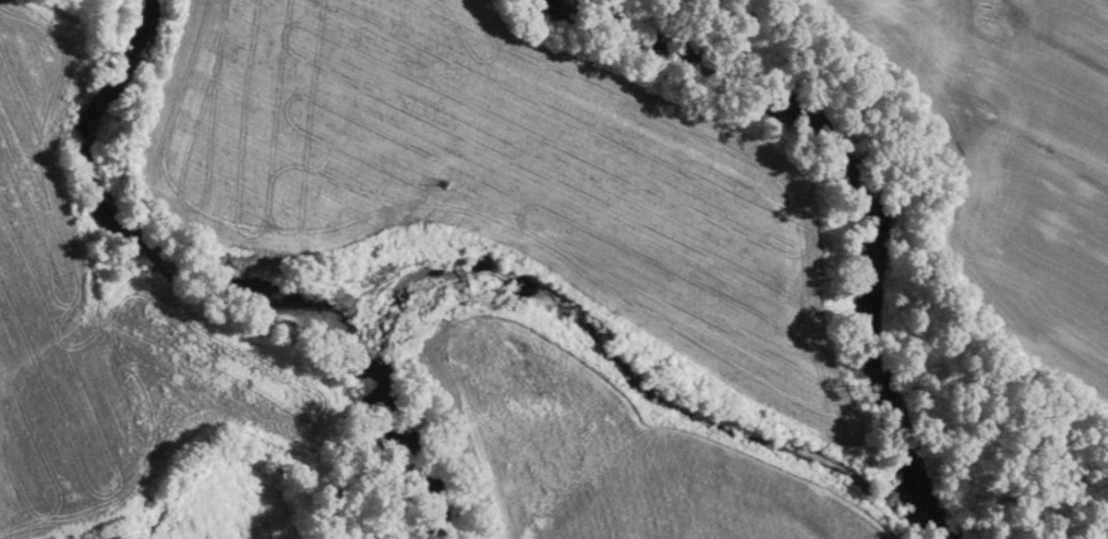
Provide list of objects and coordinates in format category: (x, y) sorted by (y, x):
river: (863, 196)
river: (231, 271)

